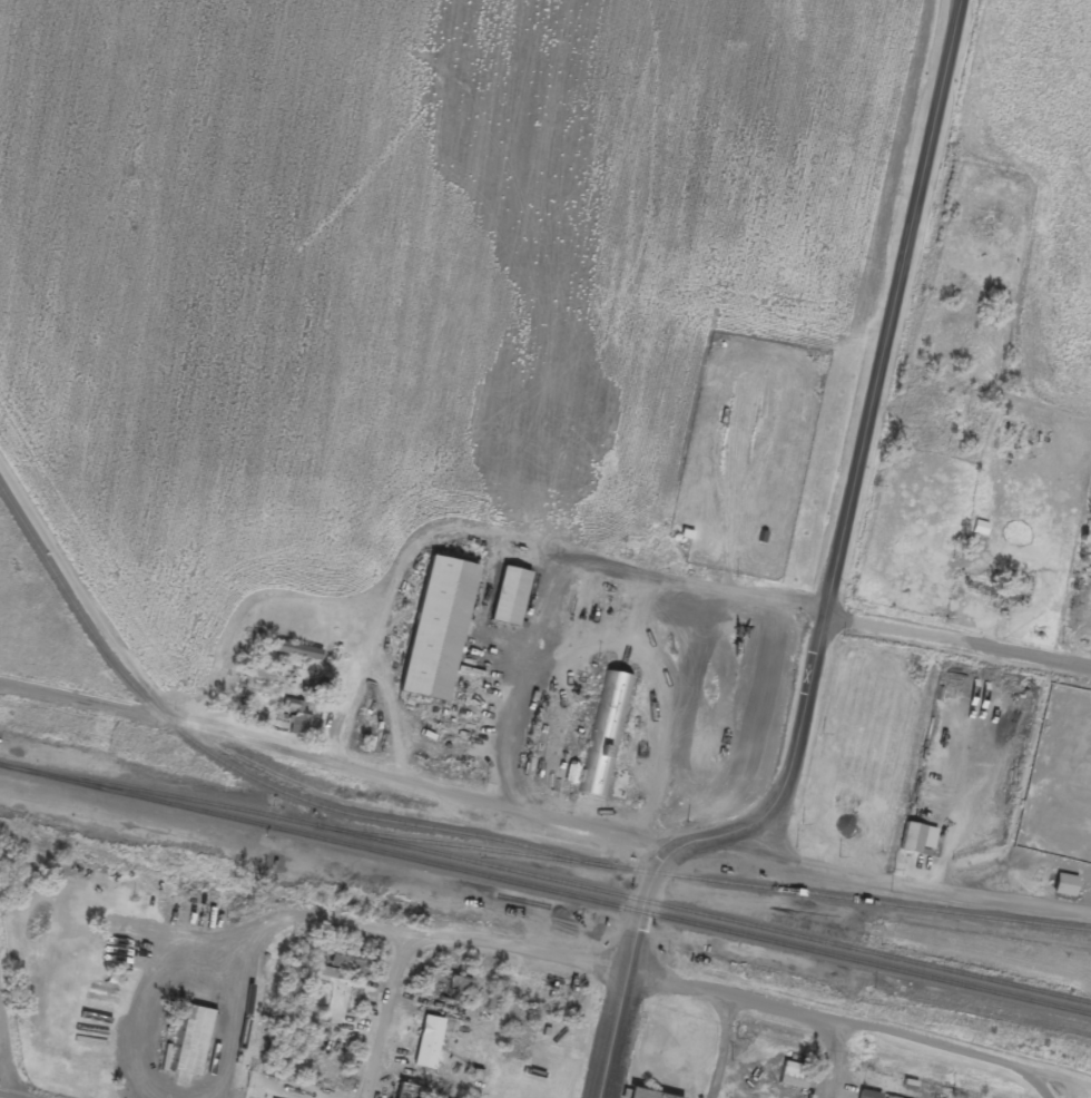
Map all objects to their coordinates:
building: (926, 435)
road: (854, 489)
building: (509, 599)
building: (438, 630)
road: (959, 643)
building: (295, 653)
building: (602, 737)
road: (543, 807)
building: (1090, 811)
railway: (473, 839)
building: (917, 842)
railway: (469, 850)
railway: (547, 881)
building: (1064, 888)
railway: (563, 896)
building: (325, 976)
road: (636, 987)
road: (625, 1001)
road: (386, 1016)
road: (165, 1019)
building: (191, 1043)
road: (4, 1060)
road: (834, 1062)
building: (878, 1082)
road: (1069, 1090)
building: (641, 1095)
building: (868, 1096)

